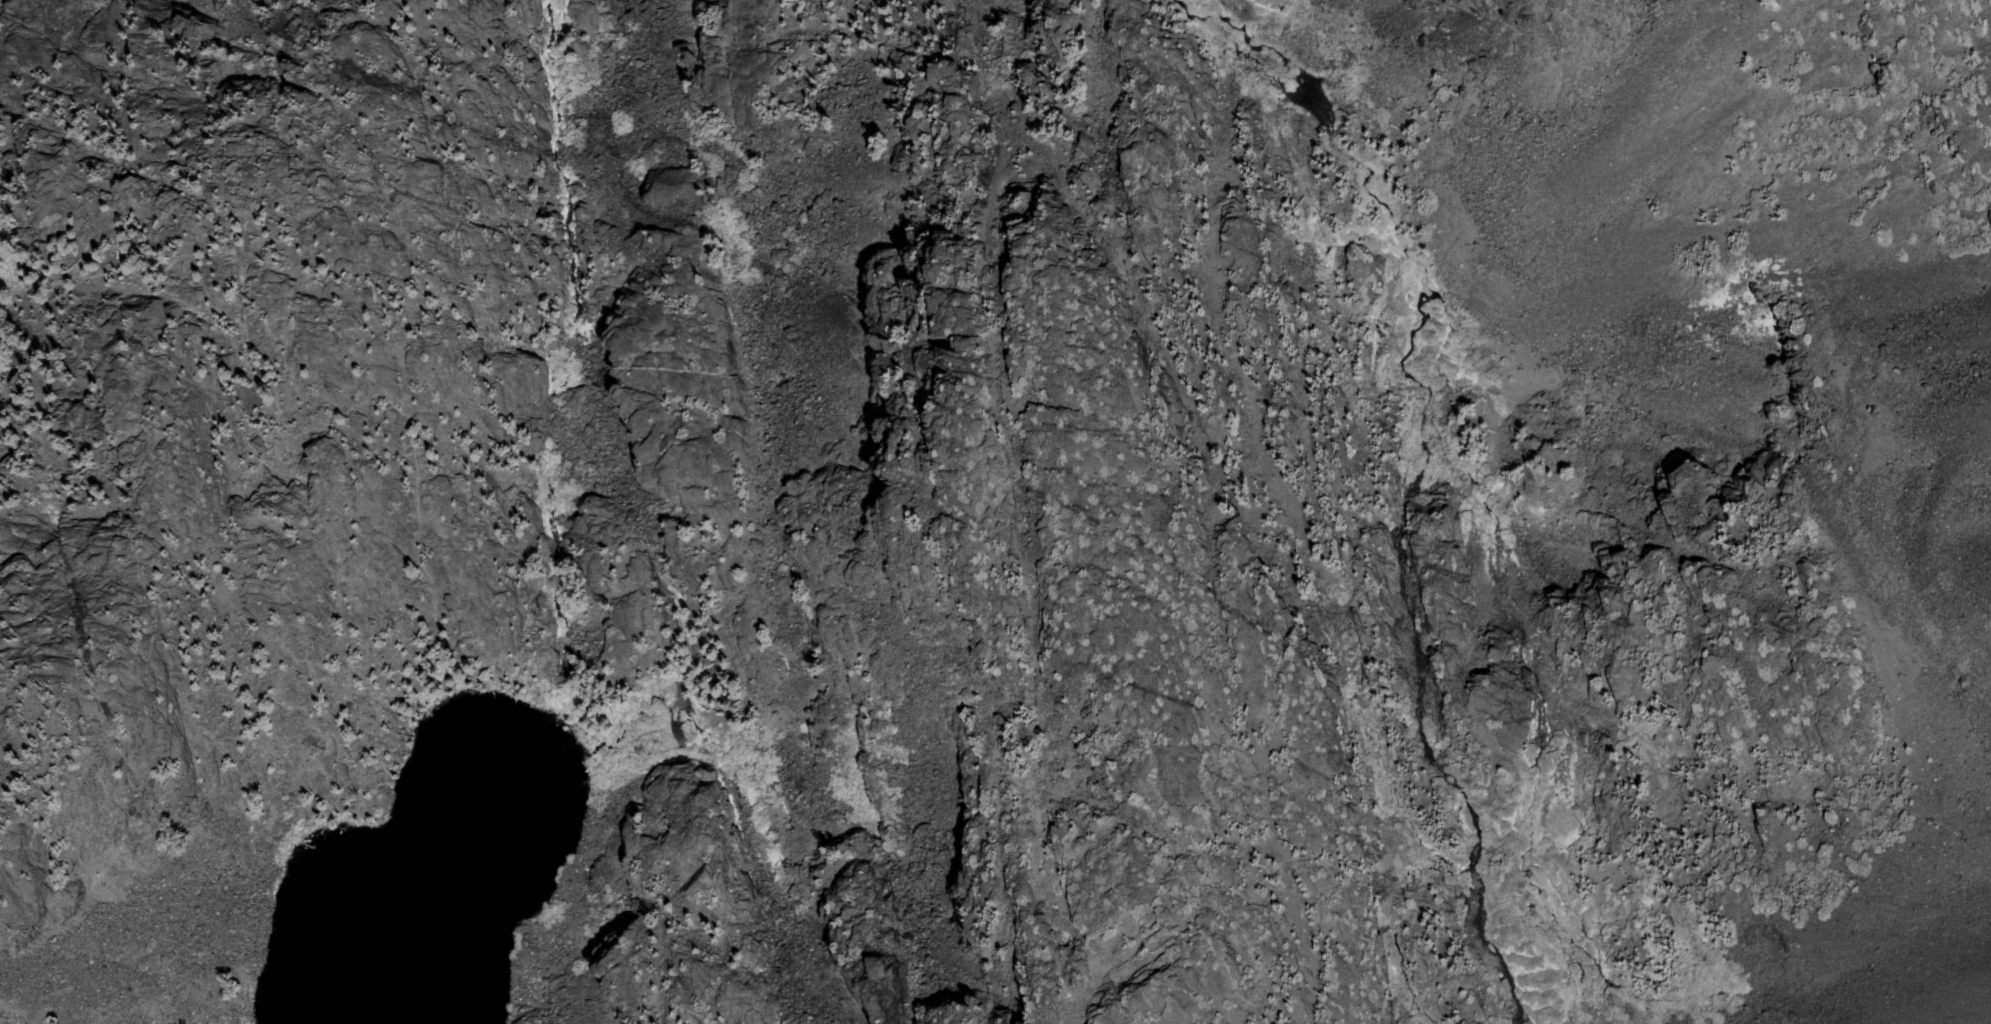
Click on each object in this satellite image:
road: (279, 421)

